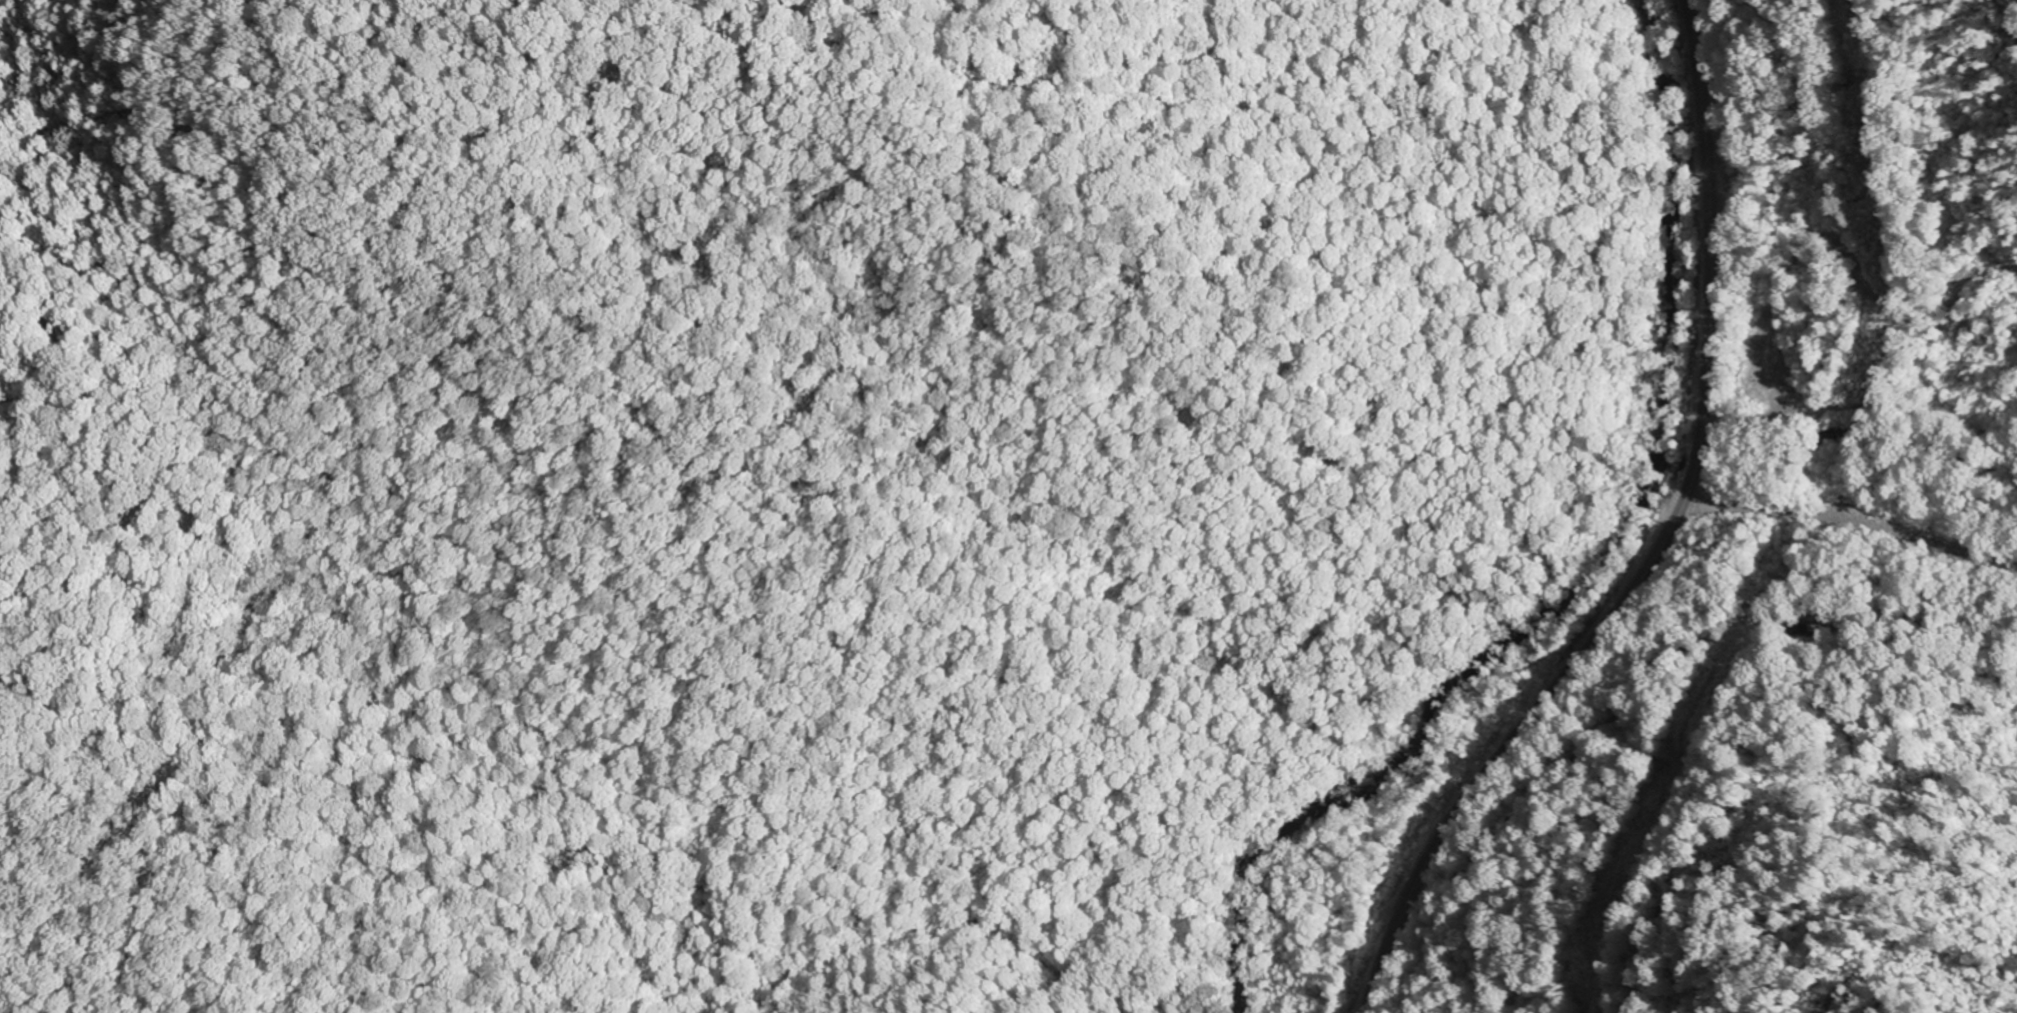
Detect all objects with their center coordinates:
road: (1855, 517)
road: (1663, 546)

